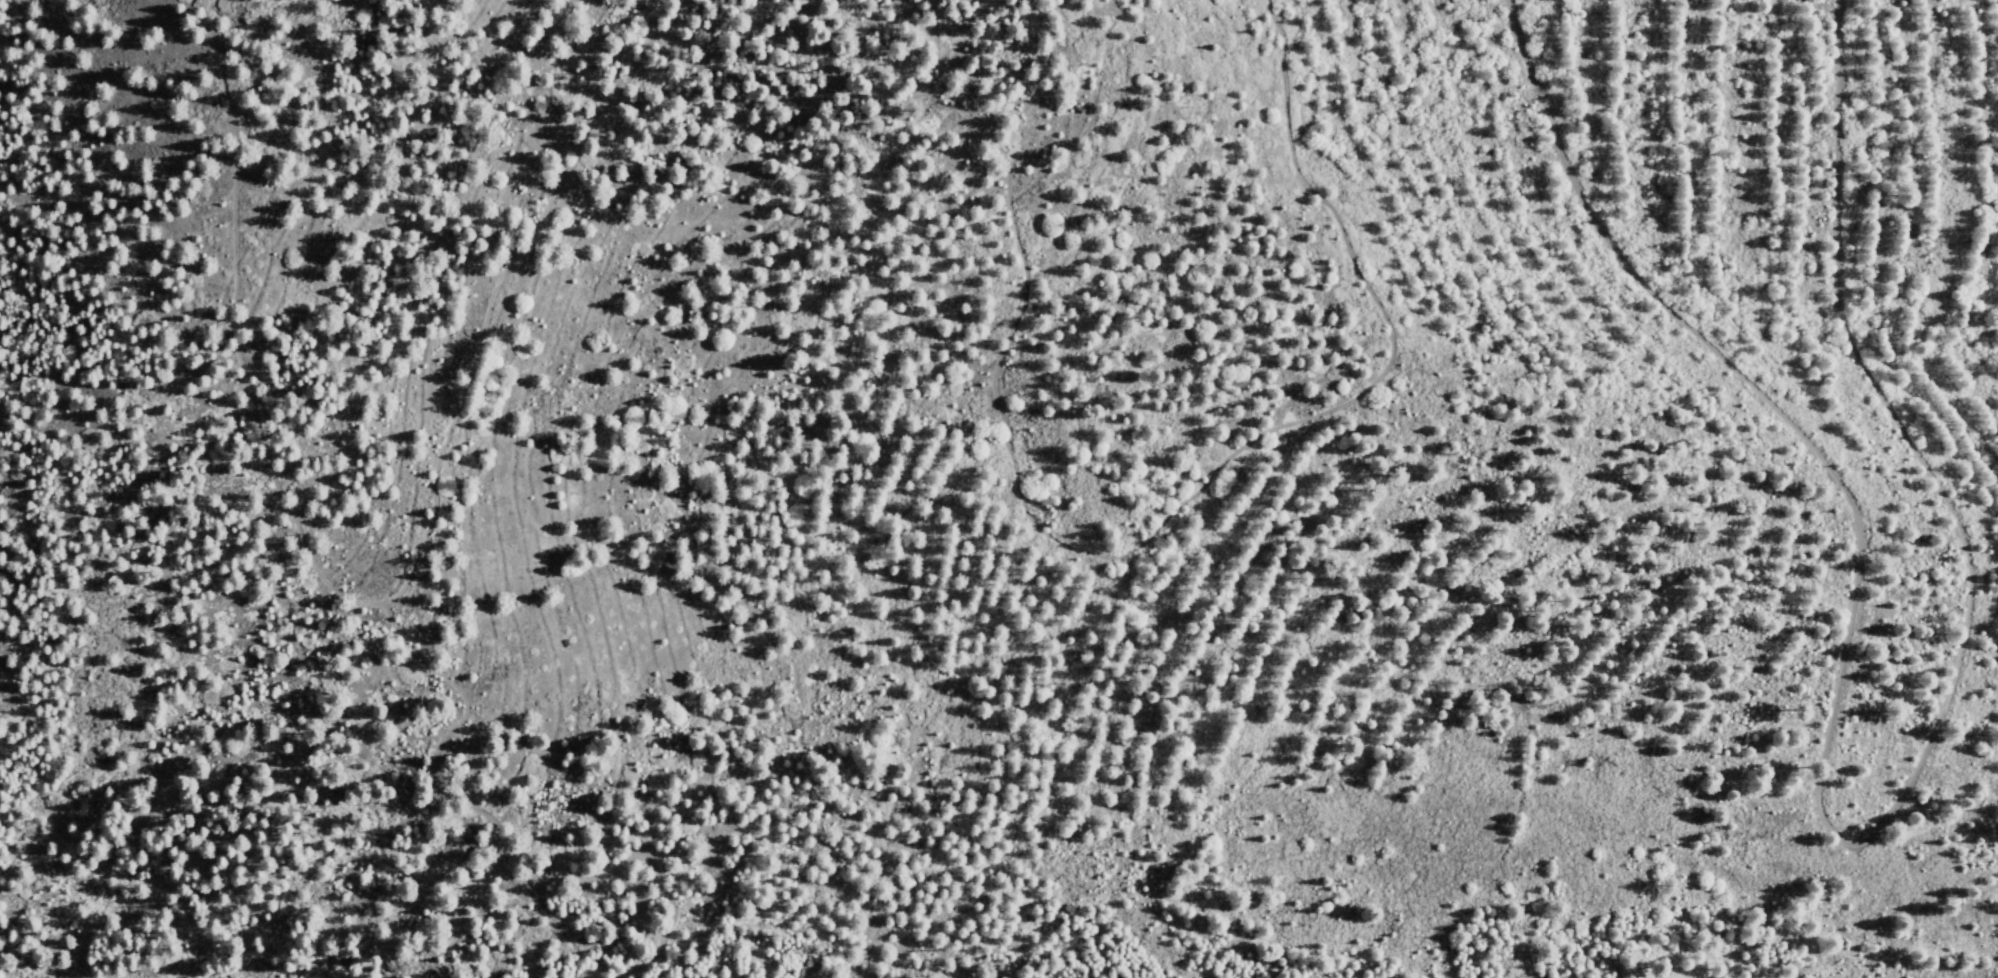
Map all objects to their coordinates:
road: (1825, 824)

